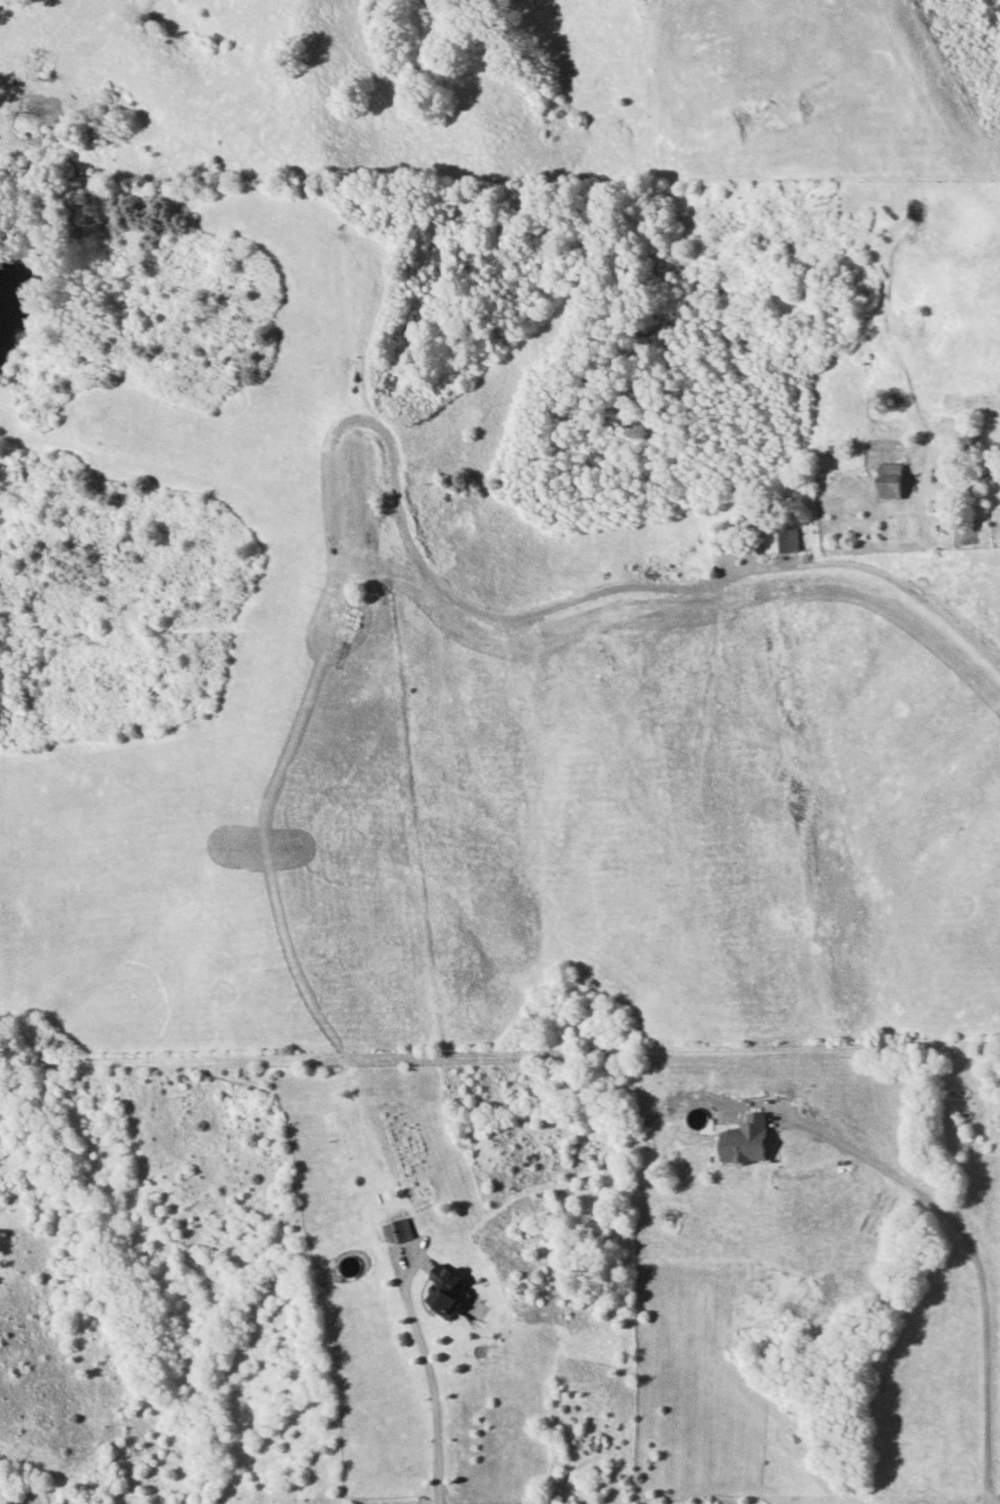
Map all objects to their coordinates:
building: (890, 480)
building: (779, 539)
road: (897, 585)
road: (500, 1055)
building: (743, 1141)
building: (398, 1230)
road: (974, 1263)
building: (446, 1292)
road: (428, 1380)

